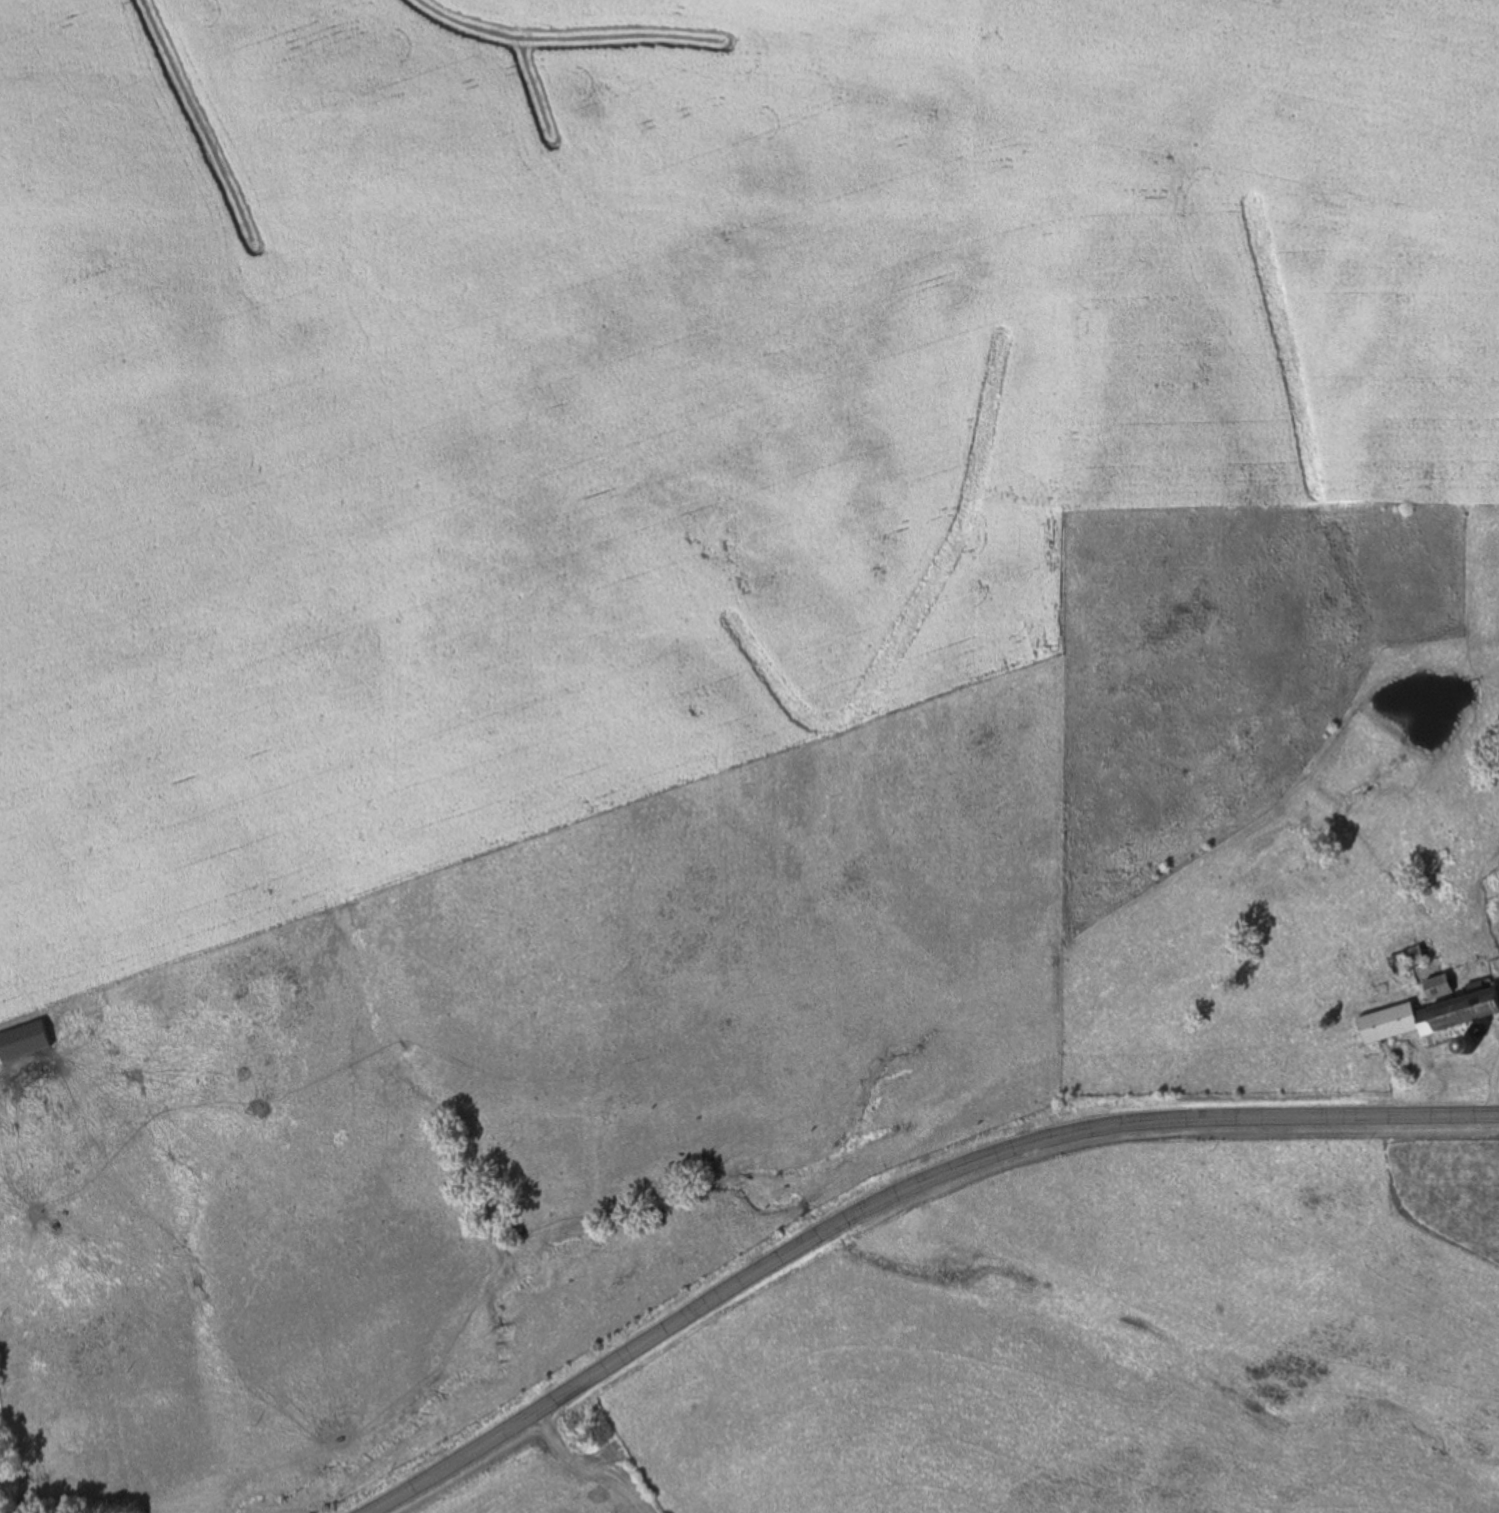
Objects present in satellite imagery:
building: (1405, 961)
building: (1436, 988)
building: (1456, 1016)
building: (1387, 1024)
building: (22, 1042)
road: (900, 1196)

